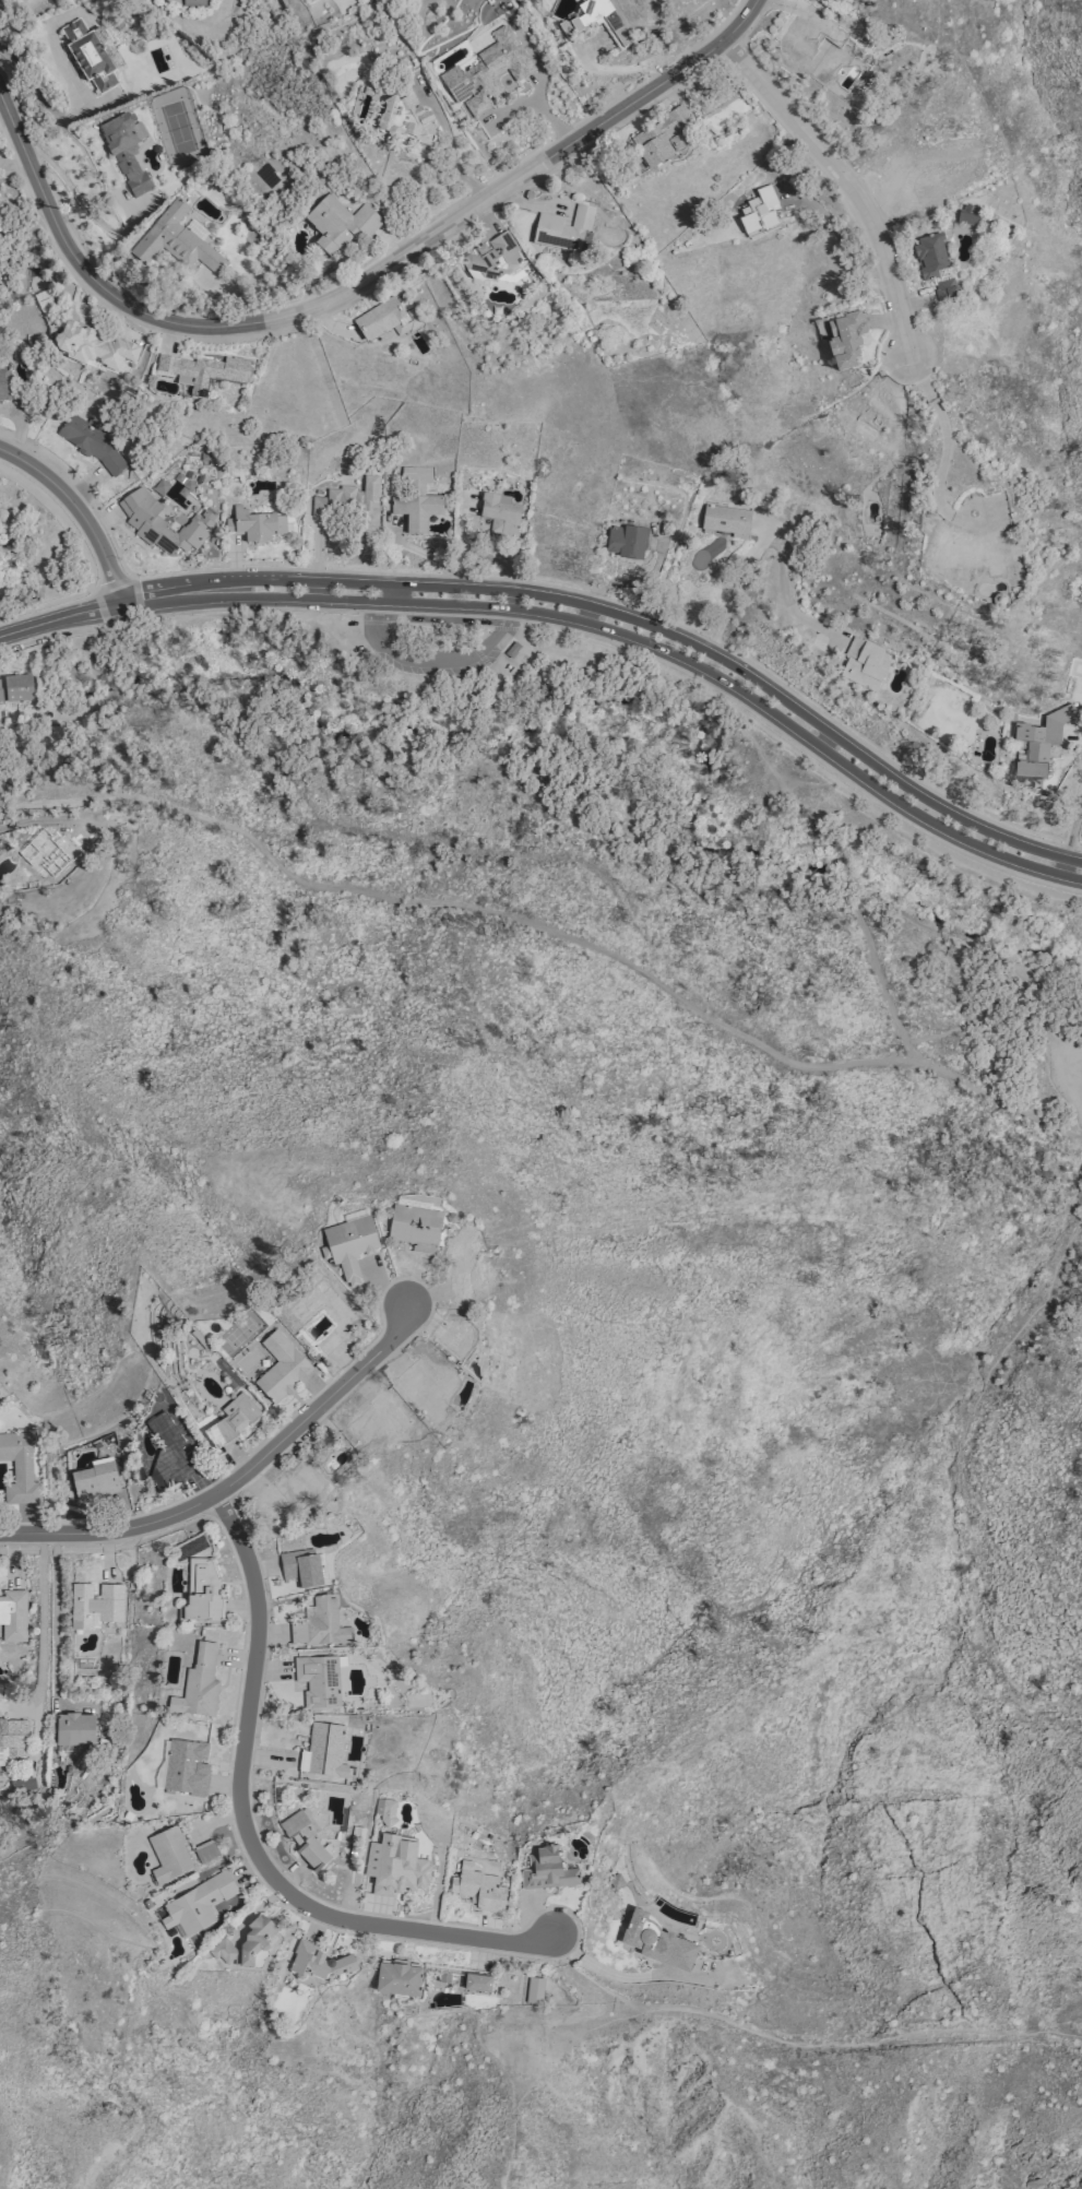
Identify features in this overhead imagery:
building: (194, 3)
road: (15, 7)
building: (596, 21)
building: (812, 49)
building: (93, 55)
building: (487, 72)
road: (49, 109)
building: (407, 121)
building: (662, 138)
road: (449, 139)
building: (127, 151)
road: (846, 180)
building: (916, 181)
road: (84, 203)
building: (759, 211)
building: (967, 214)
building: (340, 223)
building: (176, 240)
building: (495, 258)
building: (931, 258)
road: (356, 284)
building: (947, 291)
building: (385, 319)
building: (845, 340)
building: (94, 346)
building: (203, 369)
building: (4, 384)
building: (865, 415)
road: (944, 430)
building: (92, 441)
building: (418, 478)
building: (352, 502)
road: (80, 510)
building: (416, 510)
building: (500, 513)
building: (725, 520)
building: (162, 523)
building: (255, 524)
building: (625, 541)
building: (965, 553)
road: (733, 594)
road: (786, 596)
road: (61, 617)
road: (633, 626)
road: (436, 661)
building: (865, 663)
building: (15, 688)
building: (1041, 741)
road: (1072, 831)
building: (53, 853)
road: (856, 915)
road: (551, 932)
building: (416, 1228)
building: (349, 1245)
building: (466, 1277)
building: (340, 1314)
building: (460, 1338)
building: (281, 1368)
building: (427, 1387)
building: (377, 1419)
building: (231, 1420)
building: (169, 1450)
building: (20, 1468)
building: (95, 1479)
road: (237, 1479)
road: (960, 1490)
building: (289, 1491)
building: (301, 1567)
building: (202, 1590)
building: (95, 1604)
building: (13, 1614)
building: (320, 1623)
road: (44, 1630)
building: (319, 1680)
building: (199, 1684)
building: (75, 1728)
building: (12, 1739)
building: (323, 1750)
building: (187, 1767)
building: (23, 1786)
building: (385, 1810)
road: (248, 1831)
building: (305, 1837)
building: (205, 1850)
building: (169, 1854)
building: (395, 1866)
building: (547, 1869)
building: (478, 1888)
building: (198, 1904)
building: (247, 1941)
building: (657, 1941)
building: (317, 1964)
building: (399, 1977)
building: (477, 1981)
building: (534, 1989)
road: (799, 2042)
road: (542, 2072)

